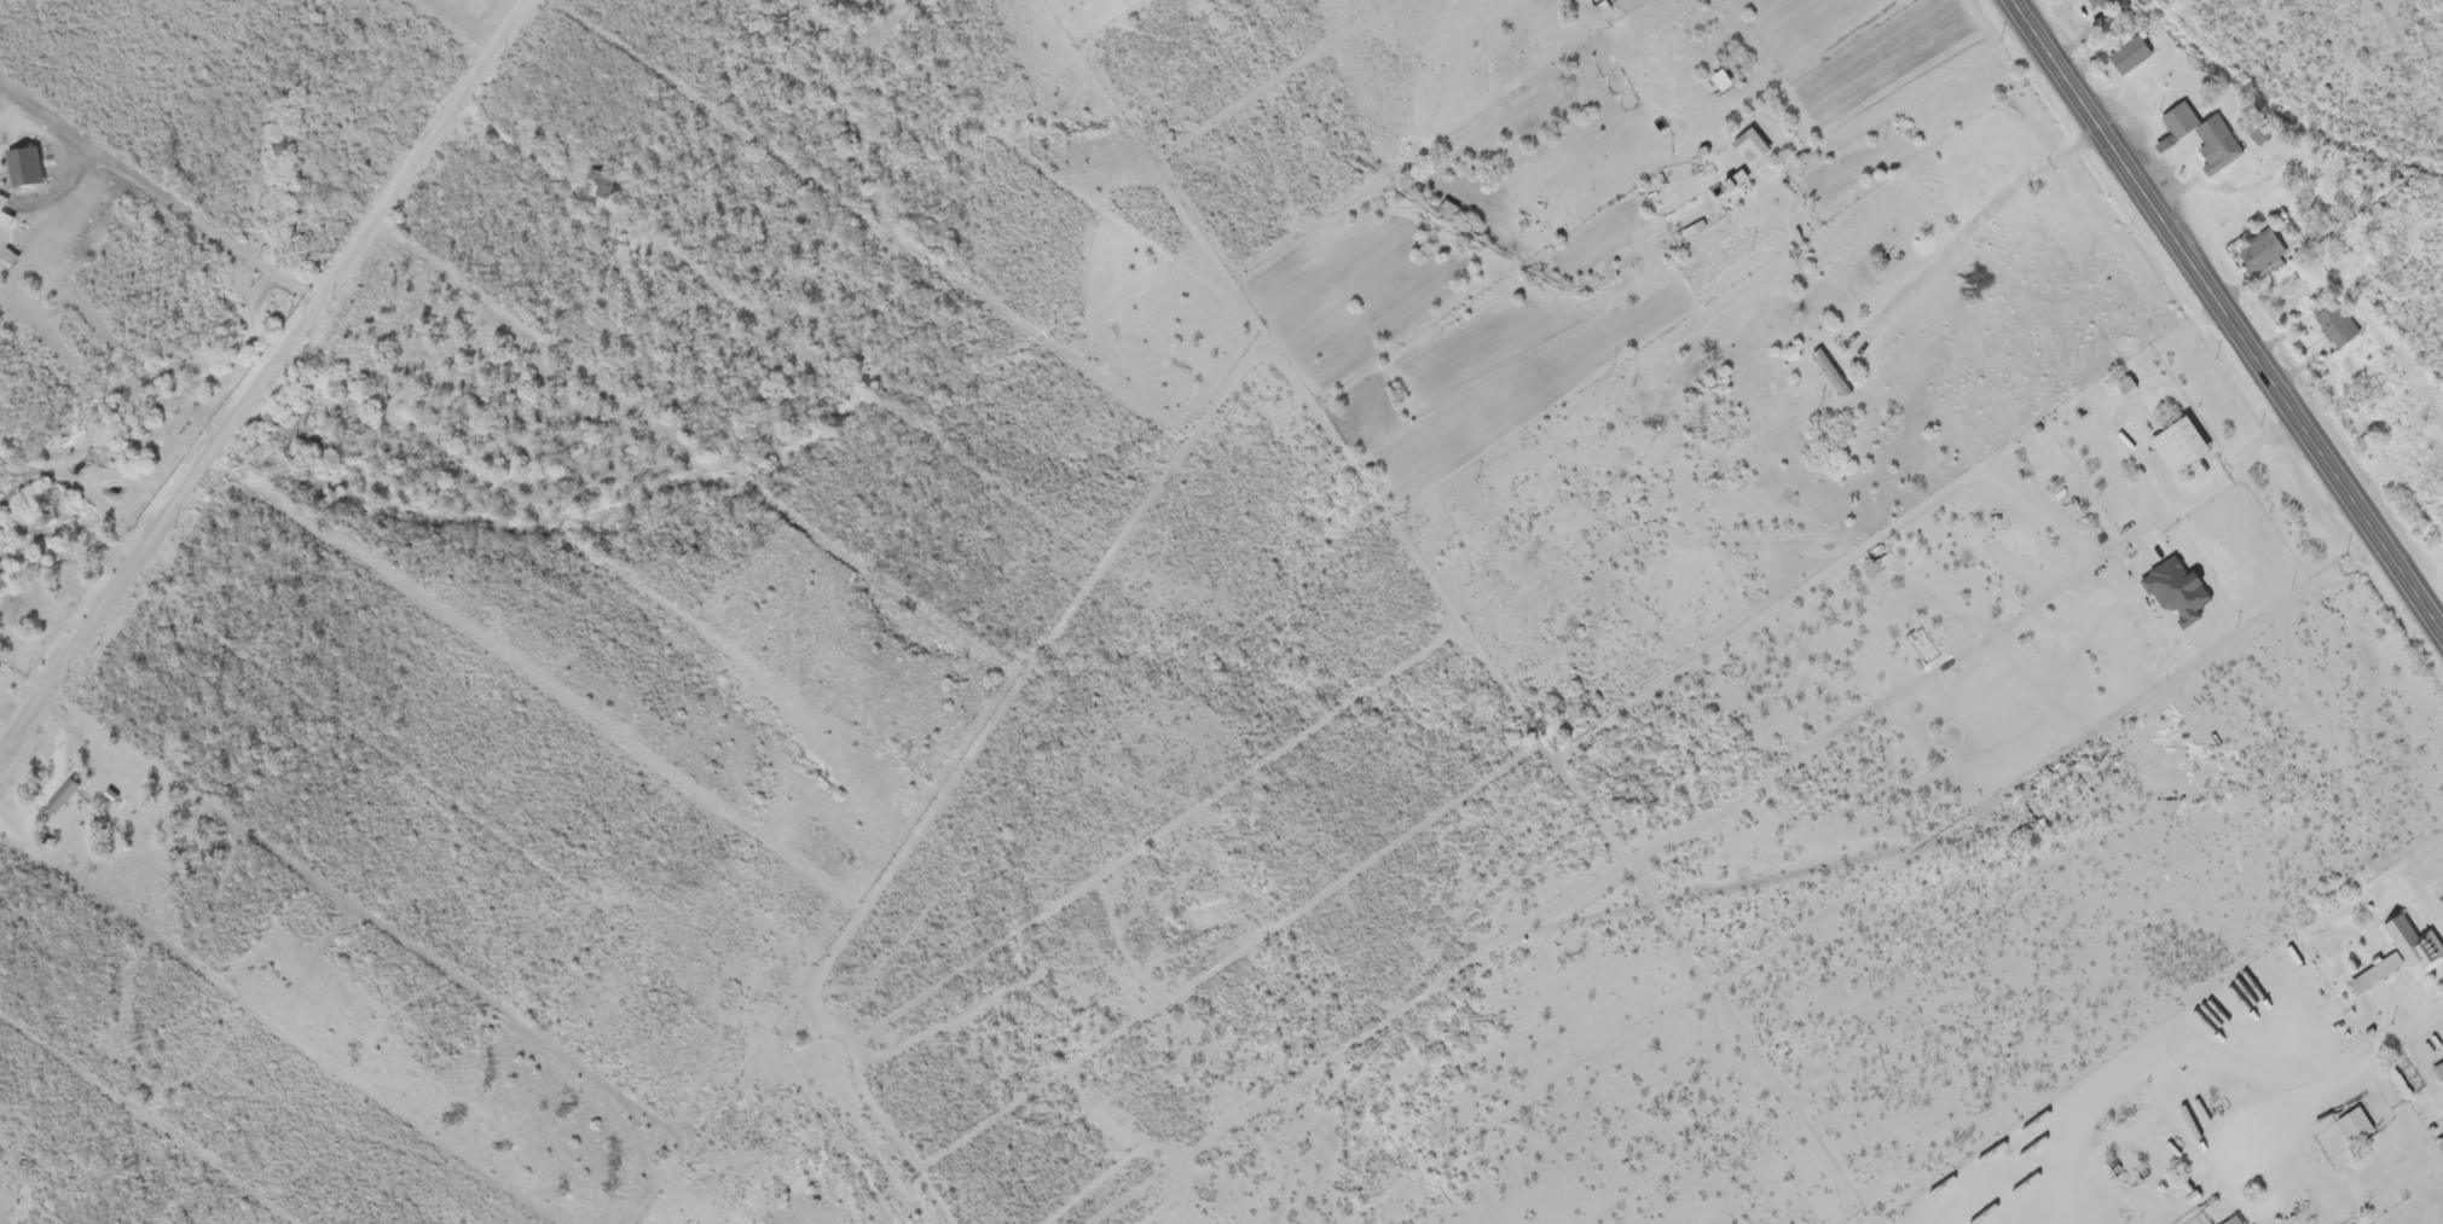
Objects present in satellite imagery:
building: (2098, 5)
building: (2124, 57)
building: (2194, 140)
building: (597, 178)
road: (135, 251)
building: (2253, 254)
road: (2231, 313)
building: (2328, 327)
road: (1483, 620)
building: (2395, 957)
building: (2346, 1129)
road: (1275, 1174)
road: (621, 1184)

